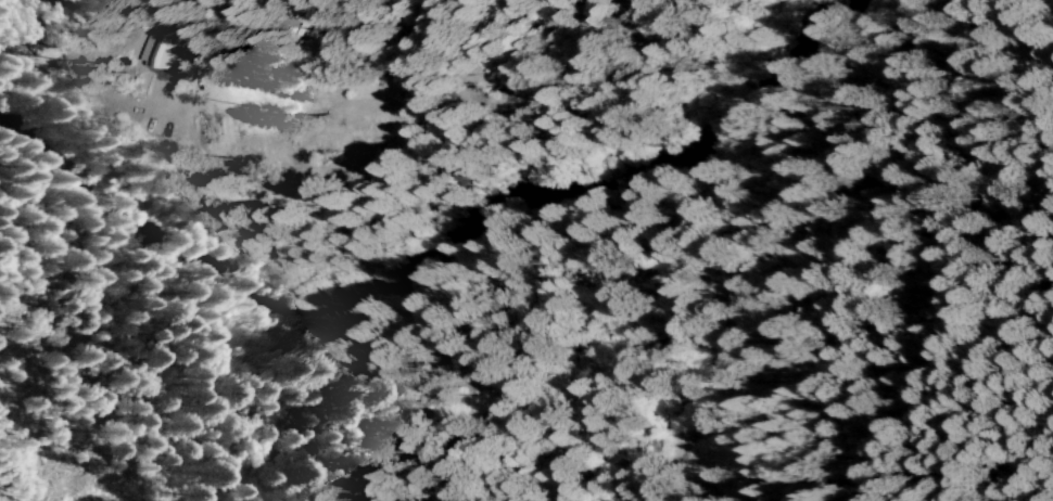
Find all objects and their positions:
road: (167, 15)

